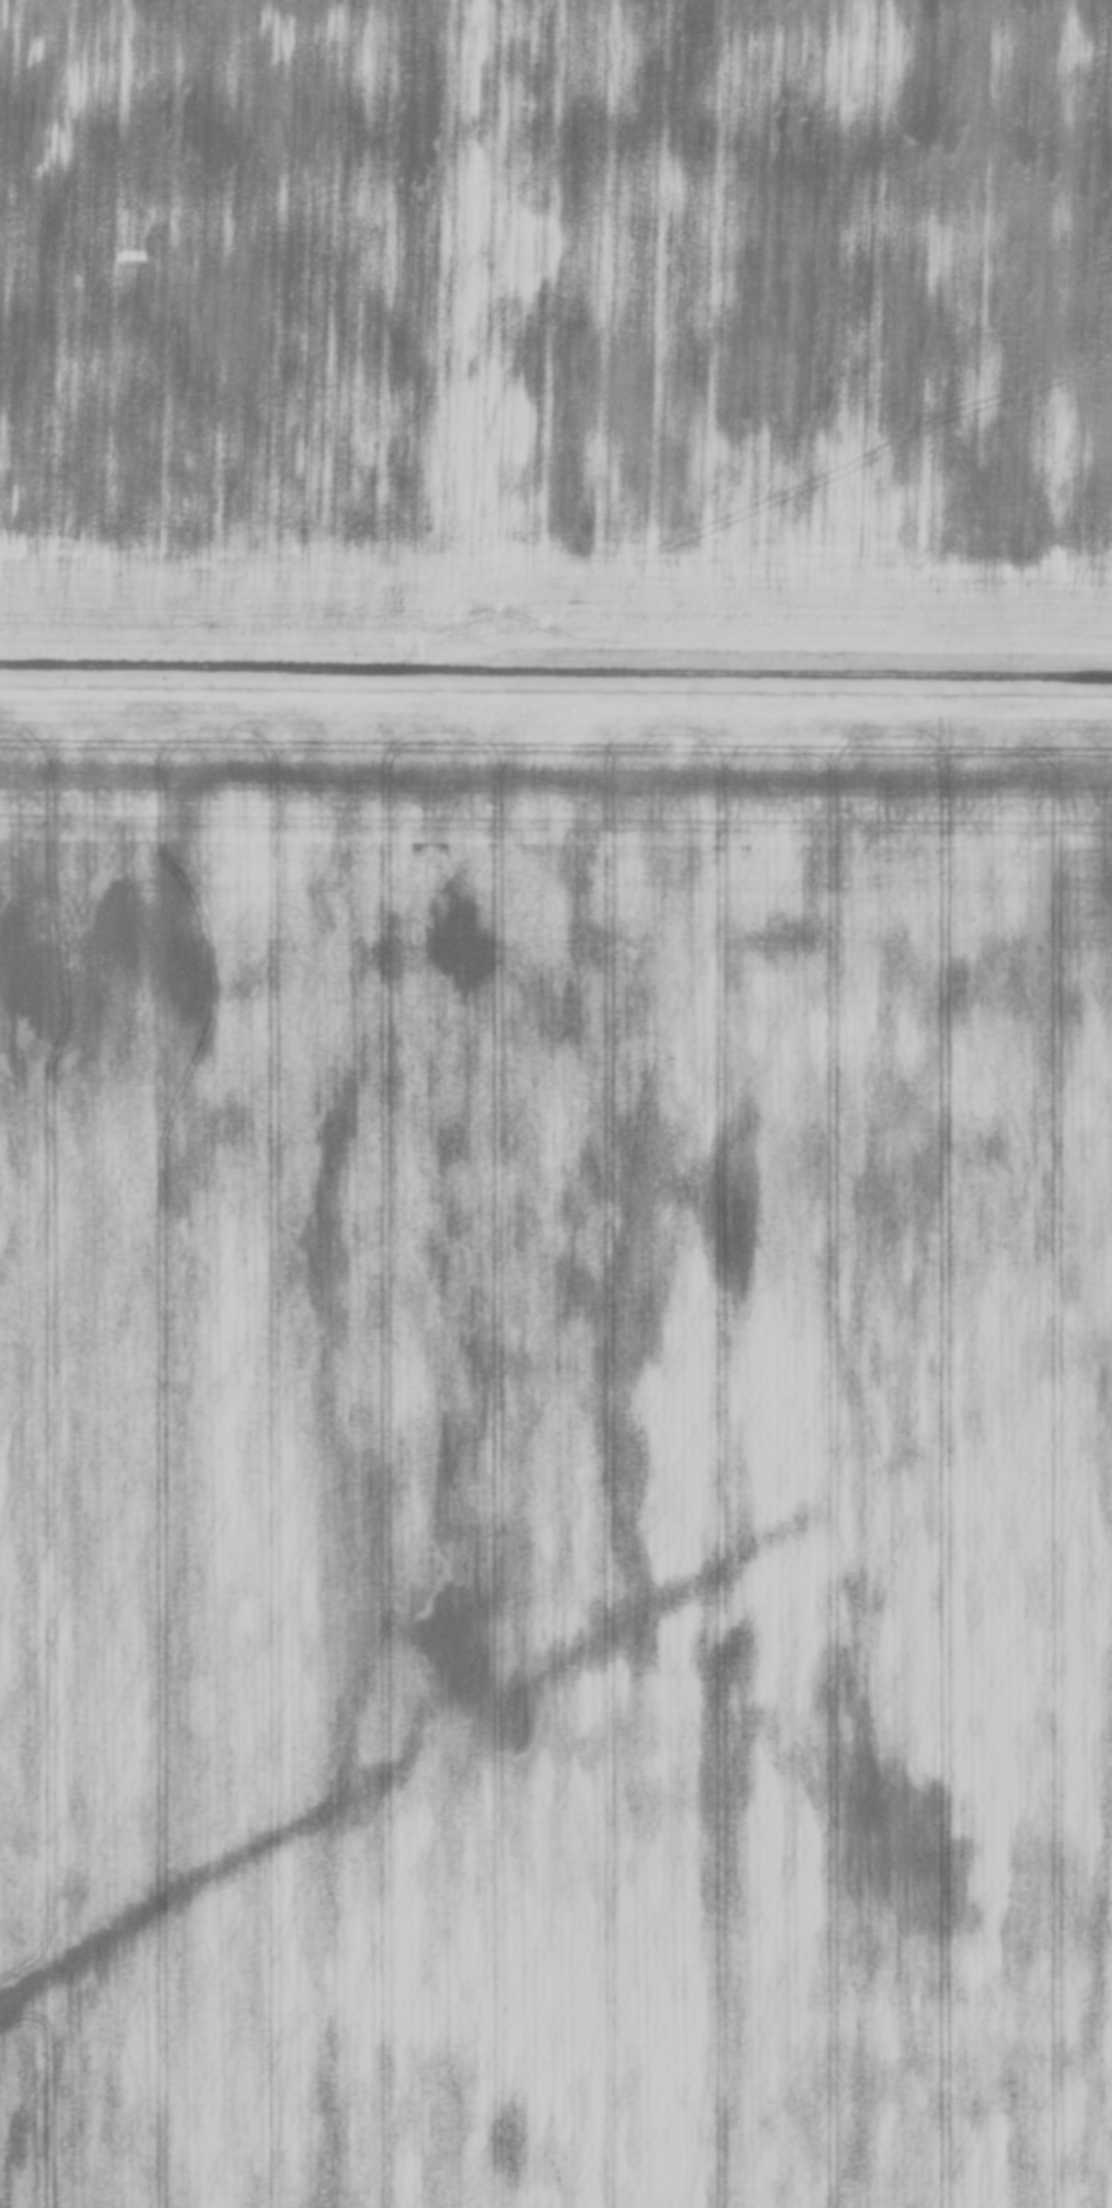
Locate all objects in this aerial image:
road: (556, 671)

